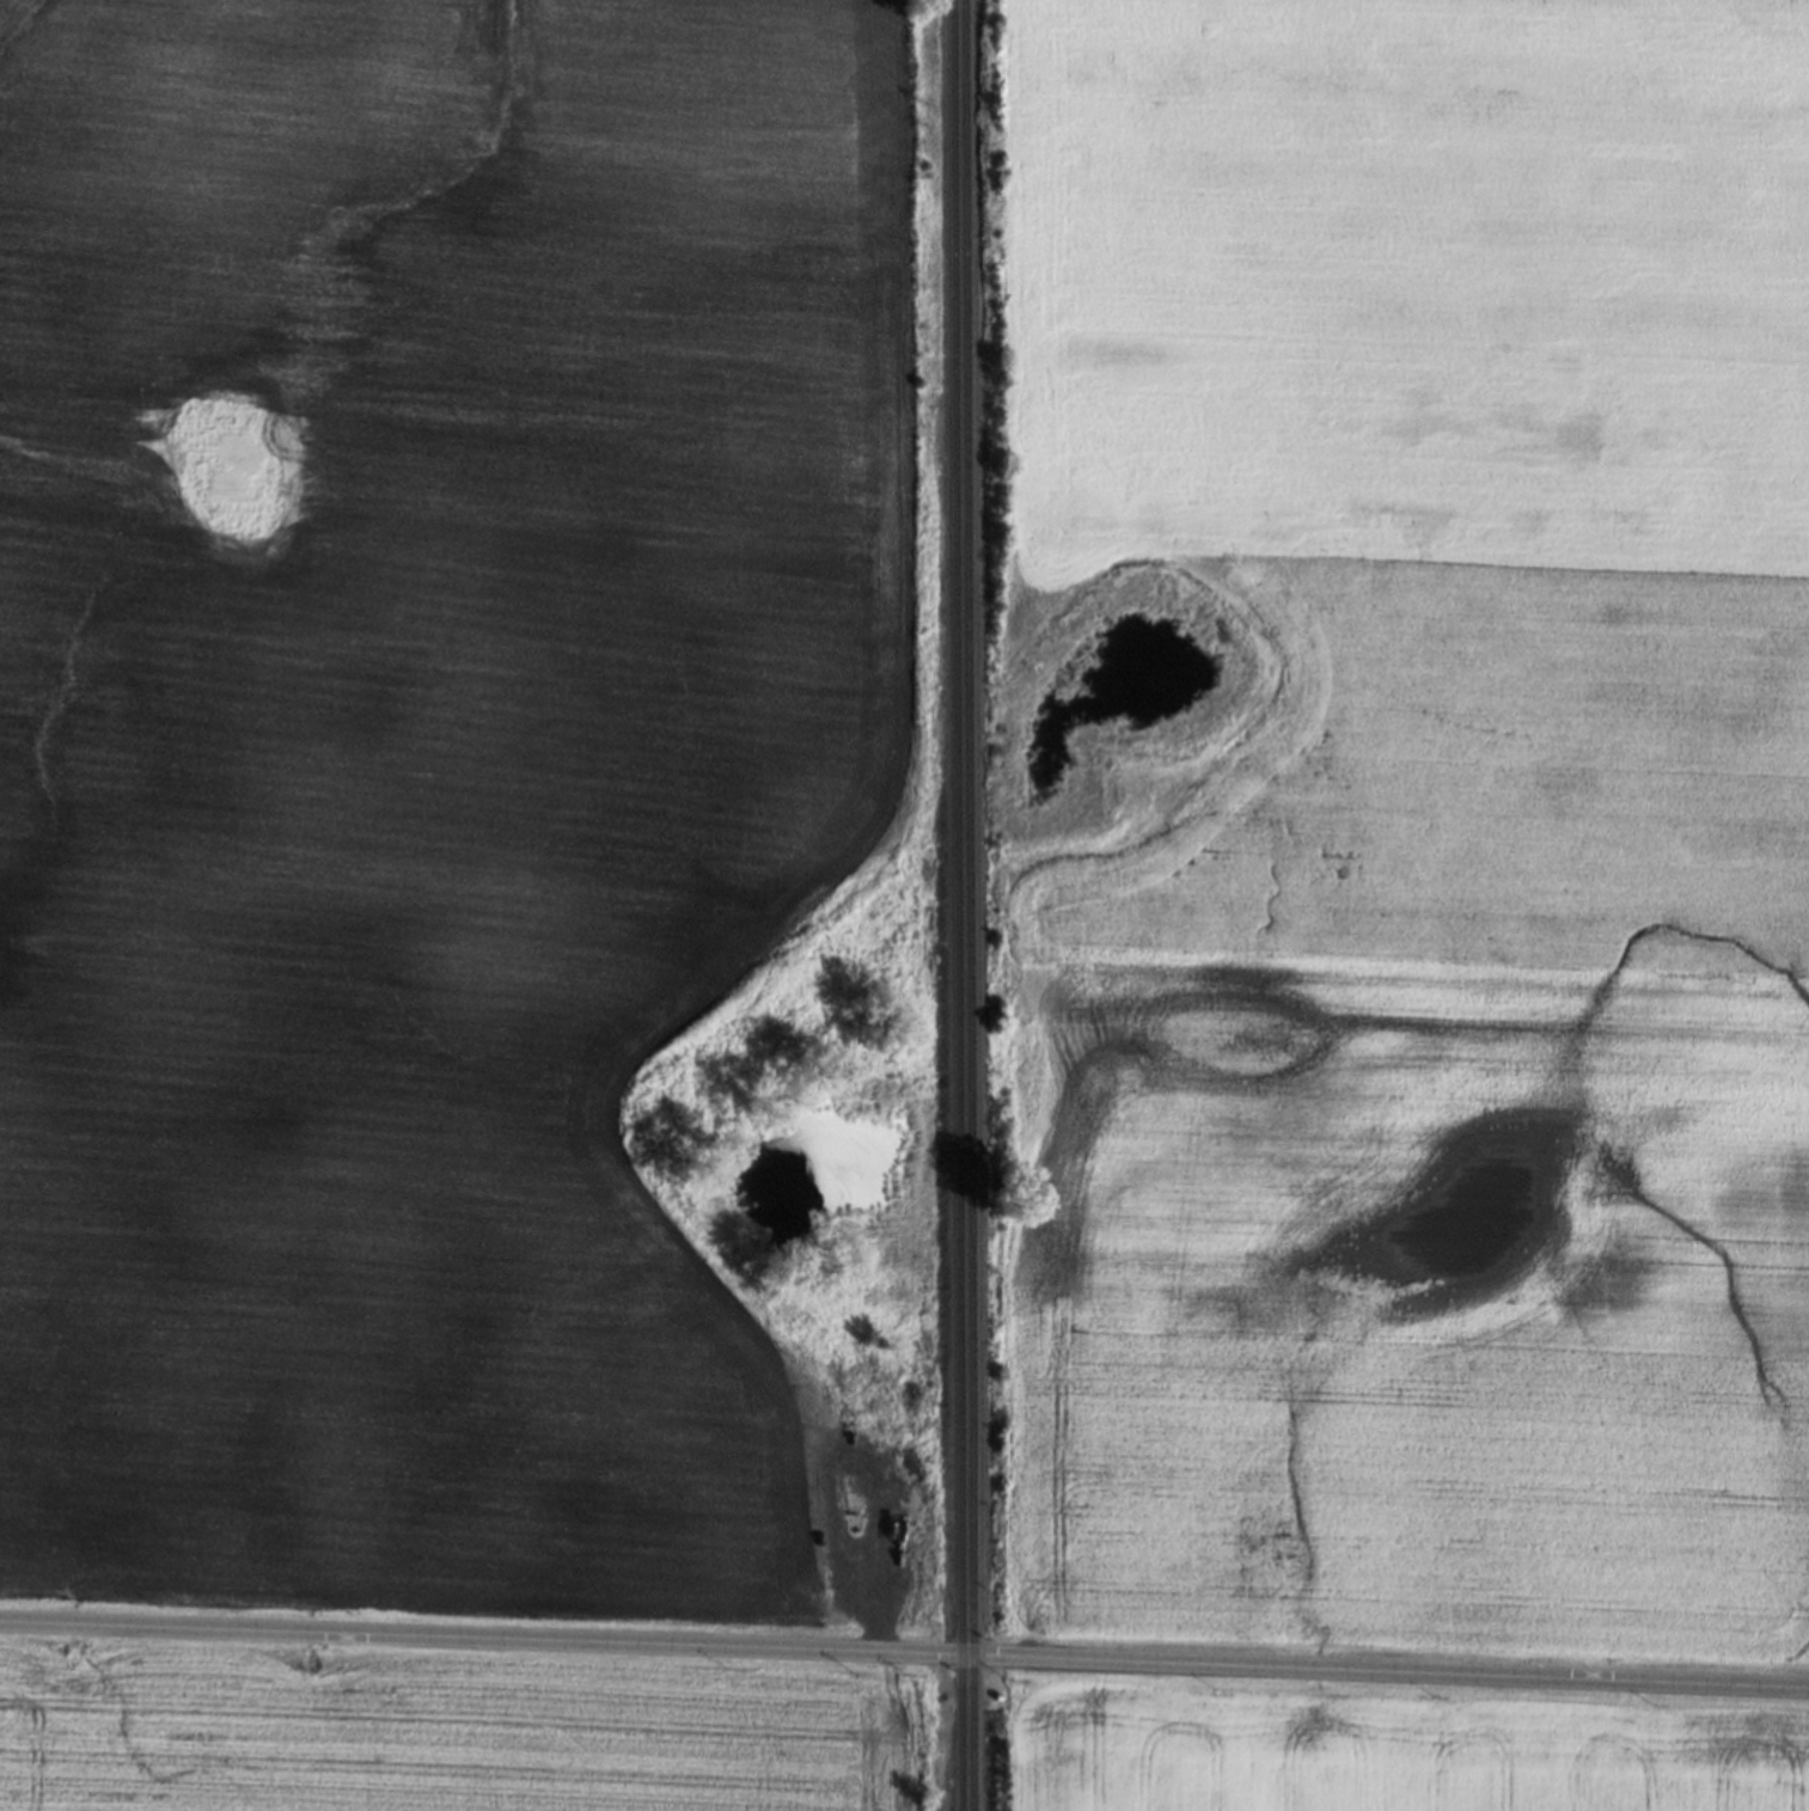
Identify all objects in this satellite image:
crop: (424, 758)
crop: (1424, 826)
railway: (957, 905)
railway: (968, 905)
road: (904, 1651)
crop: (459, 1740)
crop: (1398, 1751)

